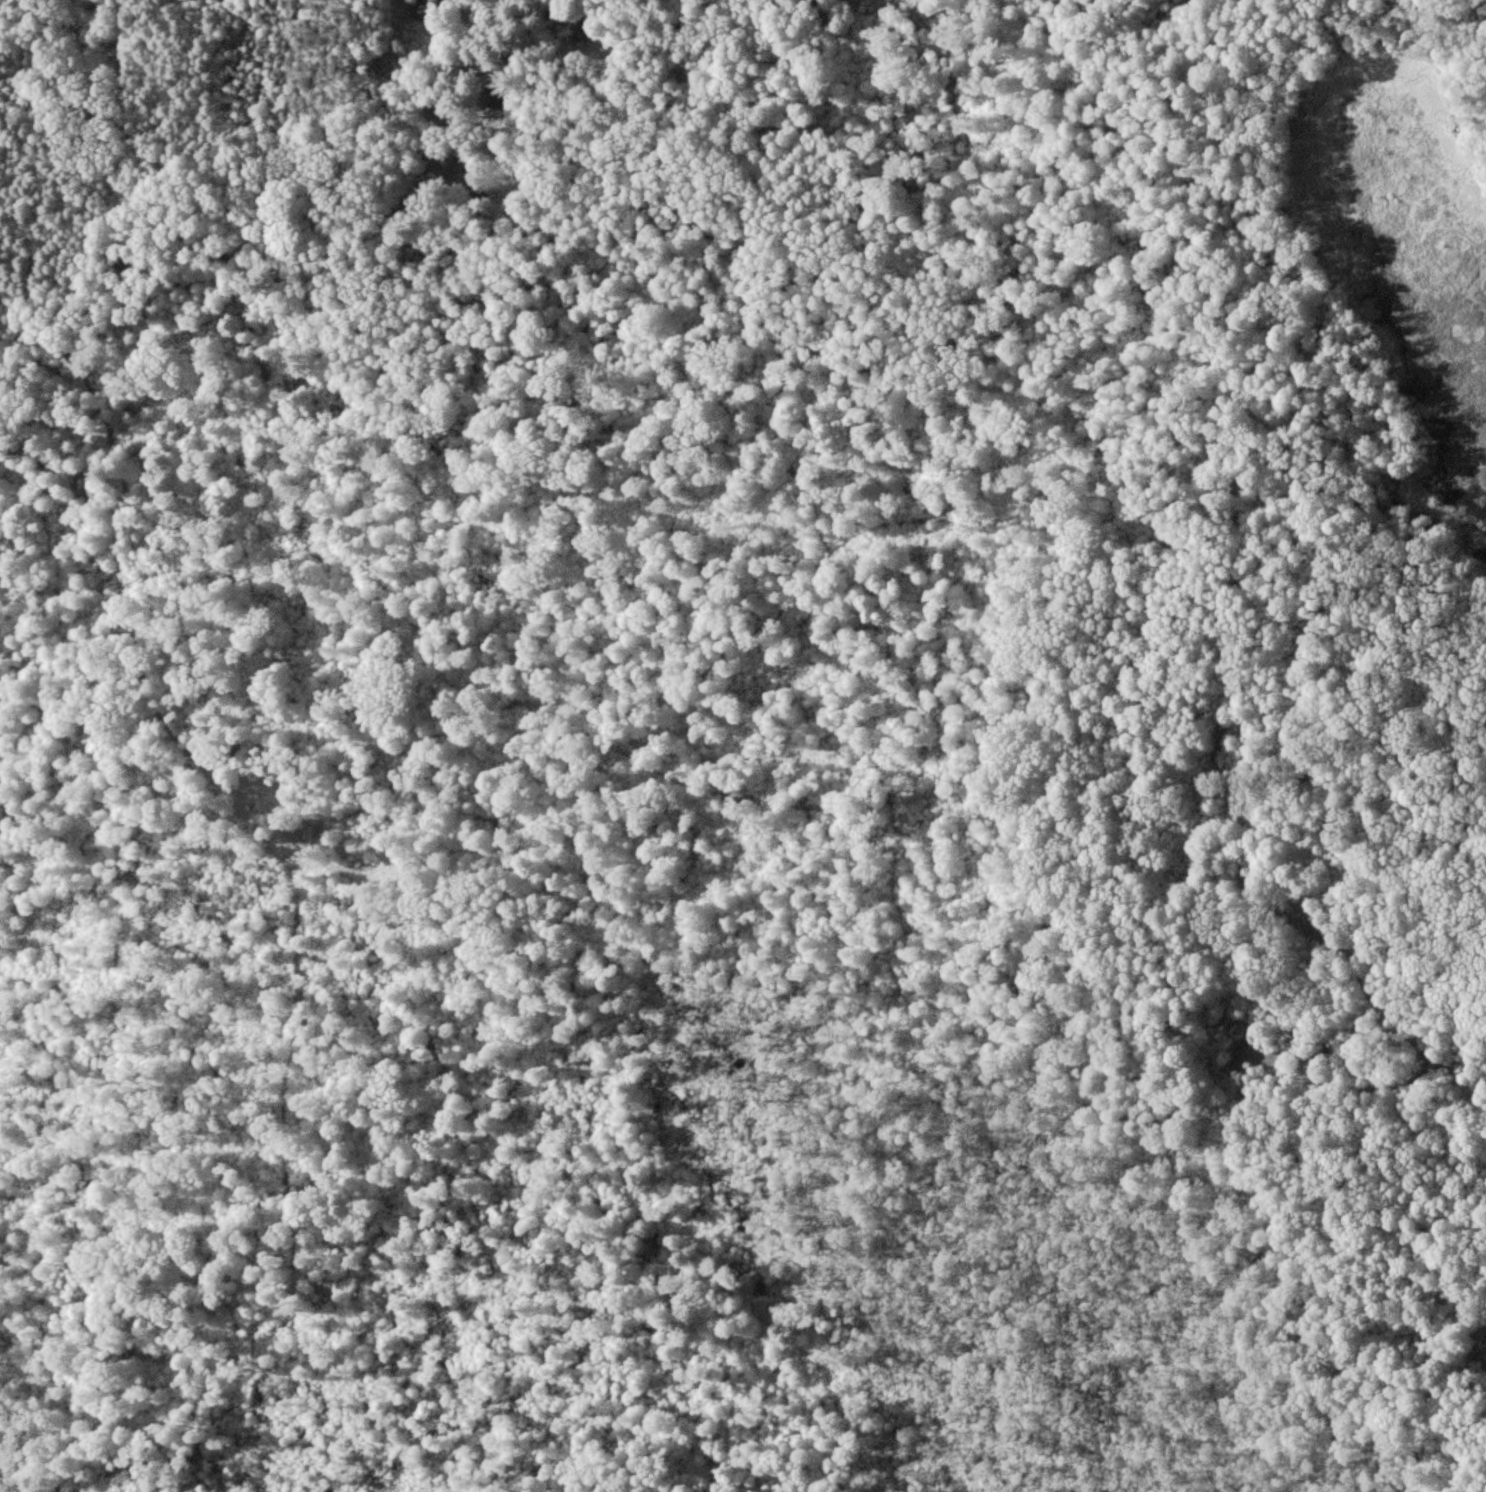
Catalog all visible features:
building: (654, 0)
building: (578, 29)
building: (494, 102)

